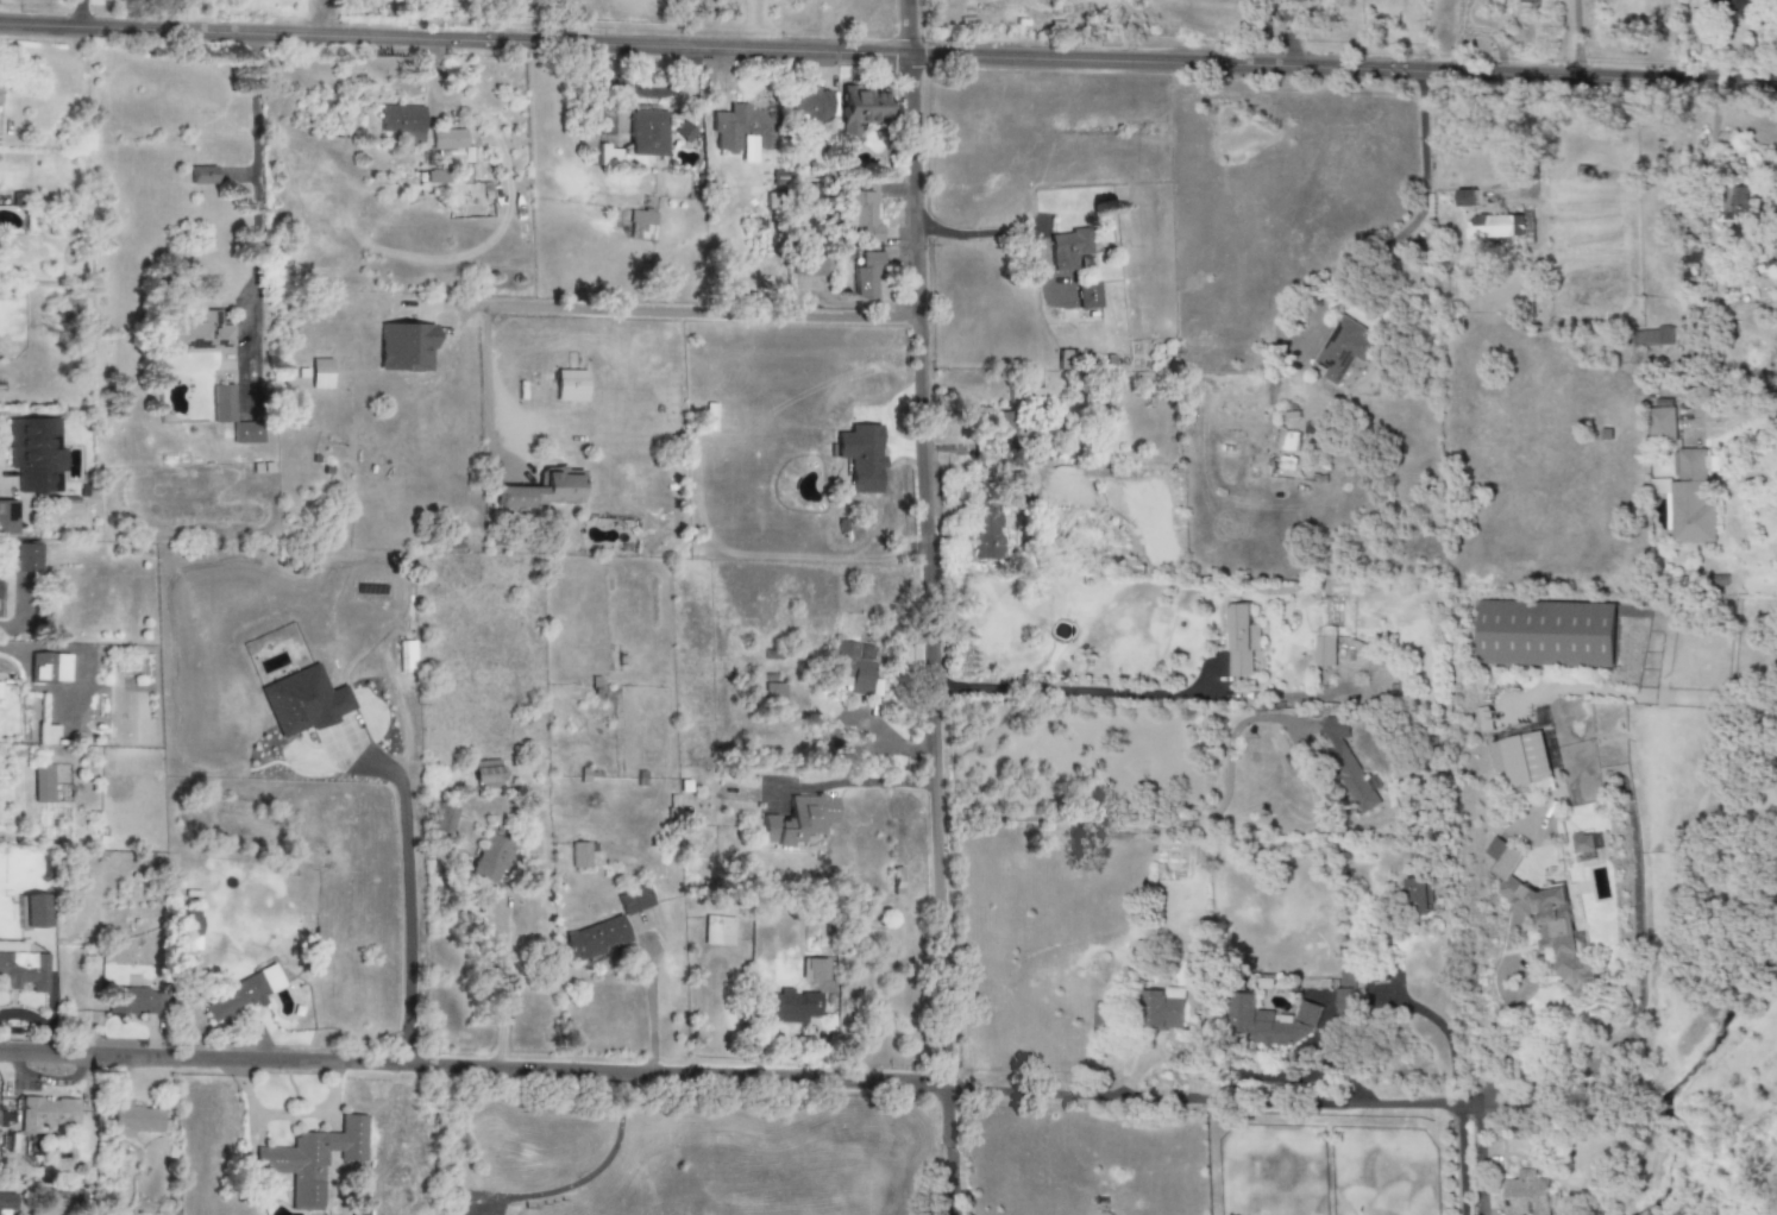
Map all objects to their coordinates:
building: (1527, 1)
building: (1734, 7)
road: (79, 15)
road: (318, 19)
road: (550, 21)
road: (1285, 34)
road: (1574, 38)
road: (887, 55)
building: (811, 105)
building: (861, 109)
building: (402, 122)
road: (1713, 128)
building: (742, 132)
building: (647, 133)
building: (448, 139)
road: (256, 172)
building: (202, 175)
road: (1423, 180)
building: (1467, 199)
building: (1743, 200)
building: (860, 213)
building: (641, 225)
building: (1497, 227)
road: (974, 233)
building: (1067, 250)
building: (1690, 254)
building: (867, 278)
building: (1087, 295)
road: (619, 307)
building: (200, 333)
building: (1652, 336)
building: (404, 347)
building: (1344, 350)
building: (320, 373)
building: (570, 385)
building: (1024, 396)
building: (222, 404)
building: (1660, 424)
building: (246, 433)
building: (996, 435)
building: (1287, 441)
building: (36, 454)
building: (860, 457)
building: (1017, 489)
building: (545, 490)
building: (1687, 501)
building: (7, 518)
building: (982, 533)
building: (25, 559)
road: (927, 606)
building: (1546, 634)
building: (1242, 640)
building: (1324, 651)
building: (49, 667)
building: (849, 668)
road: (1111, 694)
building: (774, 697)
building: (303, 701)
building: (49, 736)
building: (1519, 760)
building: (1348, 764)
building: (486, 774)
road: (850, 778)
building: (43, 783)
building: (441, 819)
building: (797, 819)
road: (1157, 821)
building: (1583, 843)
building: (579, 856)
building: (1500, 858)
building: (489, 860)
building: (1420, 898)
building: (634, 900)
road: (408, 908)
building: (34, 911)
building: (1551, 928)
building: (718, 931)
building: (595, 939)
building: (814, 969)
building: (24, 971)
building: (240, 995)
building: (1349, 996)
building: (134, 1001)
building: (792, 1007)
building: (1163, 1008)
road: (648, 1012)
road: (1433, 1021)
building: (1277, 1022)
road: (1503, 1043)
road: (766, 1078)
road: (1654, 1107)
building: (46, 1114)
road: (287, 1114)
building: (134, 1120)
road: (1458, 1158)
building: (313, 1160)
road: (588, 1179)
building: (1527, 1195)
building: (63, 1201)
building: (5, 1203)

